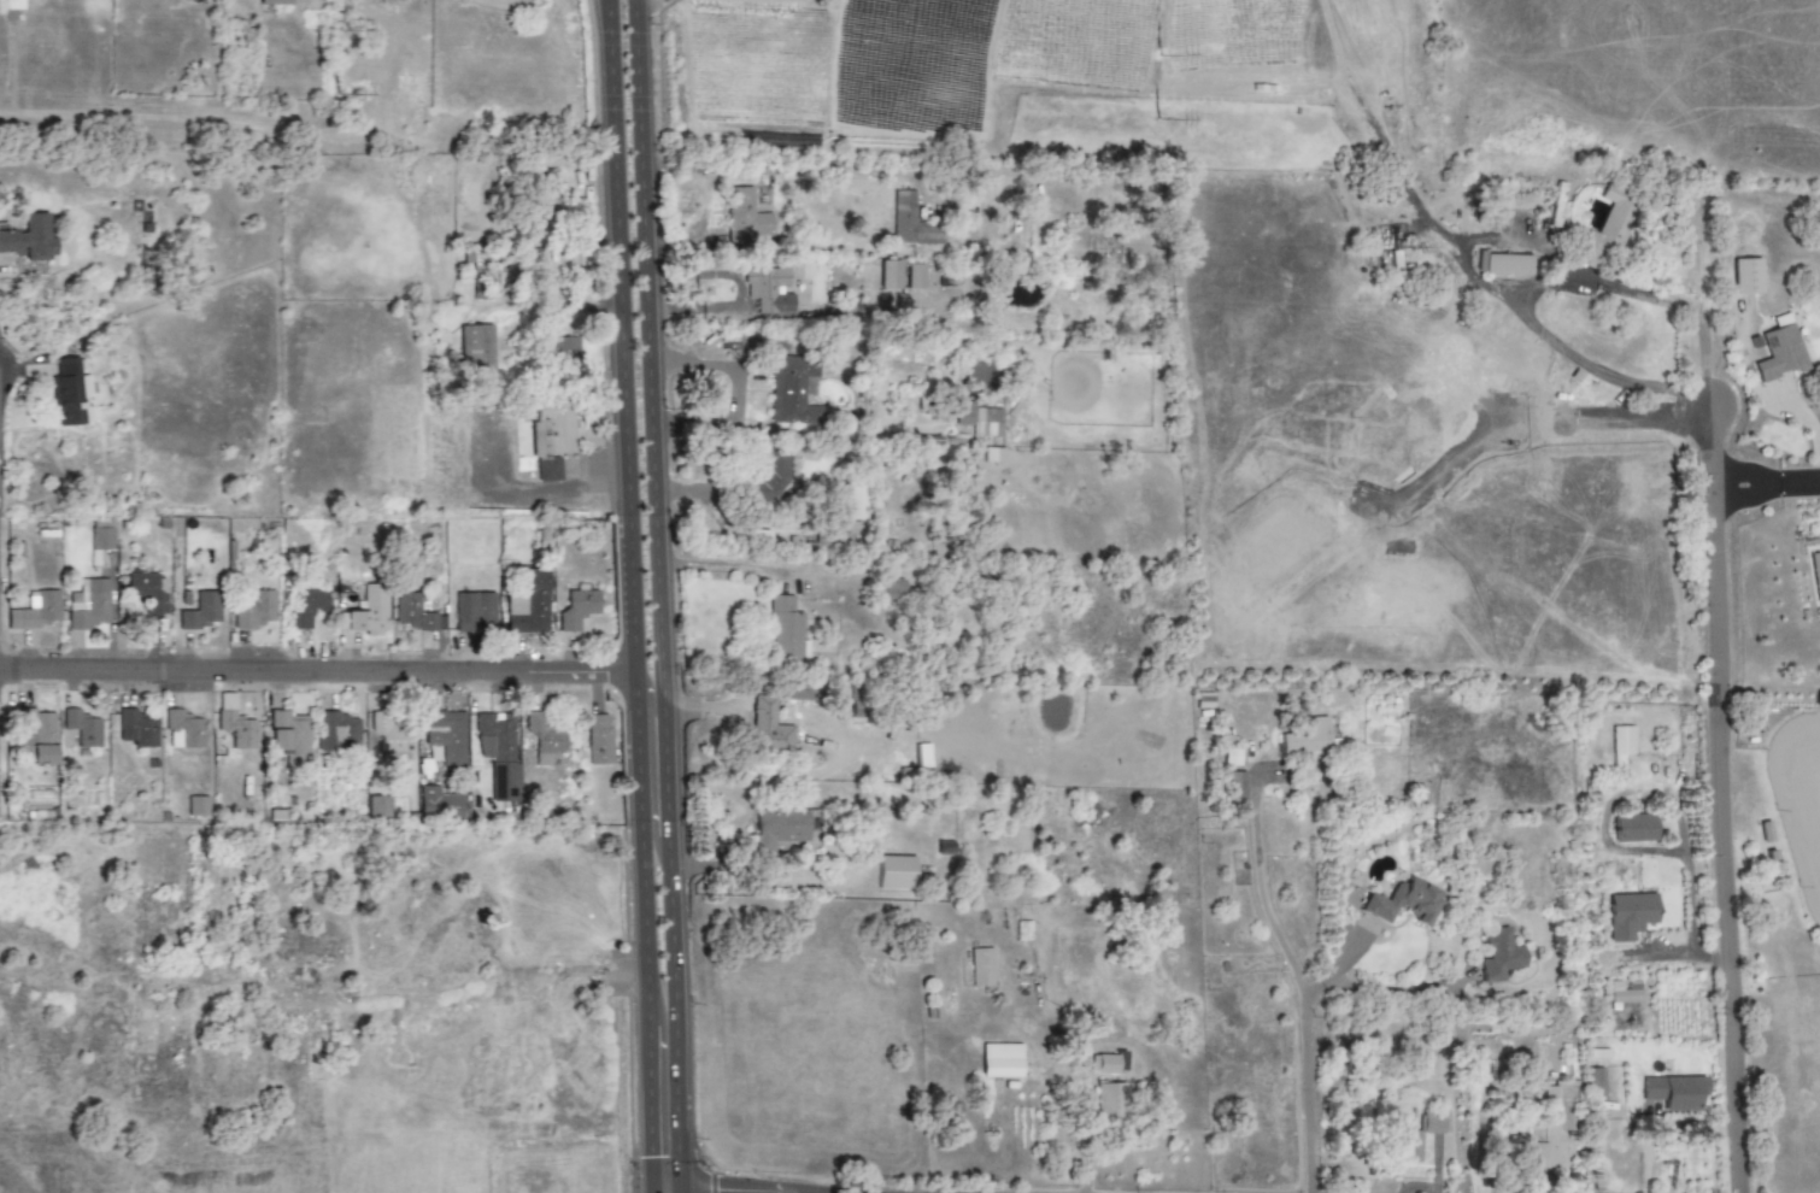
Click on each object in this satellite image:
building: (278, 1)
building: (12, 4)
road: (650, 5)
road: (594, 183)
building: (746, 217)
building: (911, 222)
building: (1605, 229)
building: (30, 237)
building: (1505, 266)
building: (890, 275)
building: (915, 276)
building: (1745, 276)
building: (770, 290)
road: (1526, 294)
road: (577, 301)
road: (1702, 305)
road: (733, 307)
road: (618, 336)
building: (475, 348)
building: (563, 349)
building: (1779, 353)
road: (1598, 370)
building: (789, 390)
building: (67, 393)
road: (738, 394)
building: (976, 422)
building: (551, 436)
building: (993, 454)
building: (770, 477)
road: (1765, 483)
road: (522, 493)
road: (692, 493)
building: (853, 501)
building: (100, 535)
road: (751, 569)
building: (1815, 580)
building: (887, 588)
building: (147, 590)
road: (671, 595)
building: (528, 603)
building: (87, 604)
building: (306, 606)
building: (198, 609)
building: (254, 609)
building: (576, 609)
building: (35, 610)
building: (366, 610)
building: (472, 610)
building: (413, 613)
building: (786, 631)
road: (315, 670)
road: (705, 709)
building: (81, 727)
building: (768, 727)
building: (136, 728)
building: (182, 729)
building: (236, 729)
building: (389, 731)
building: (36, 734)
building: (336, 734)
building: (445, 735)
building: (288, 736)
building: (544, 739)
building: (597, 739)
building: (1620, 745)
building: (499, 751)
building: (1231, 757)
road: (652, 775)
road: (1724, 791)
building: (439, 805)
building: (196, 806)
building: (378, 806)
building: (812, 827)
building: (1633, 828)
building: (777, 829)
road: (636, 850)
road: (708, 866)
building: (896, 872)
road: (1260, 888)
building: (1403, 903)
building: (1630, 916)
road: (494, 918)
building: (1498, 956)
building: (980, 968)
building: (1624, 993)
road: (465, 997)
road: (1304, 1056)
building: (1000, 1060)
building: (1106, 1063)
building: (1595, 1083)
building: (1673, 1092)
building: (1109, 1100)
road: (642, 1110)
building: (1432, 1122)
building: (1546, 1127)
building: (1404, 1145)
traffic signals: (645, 1158)

